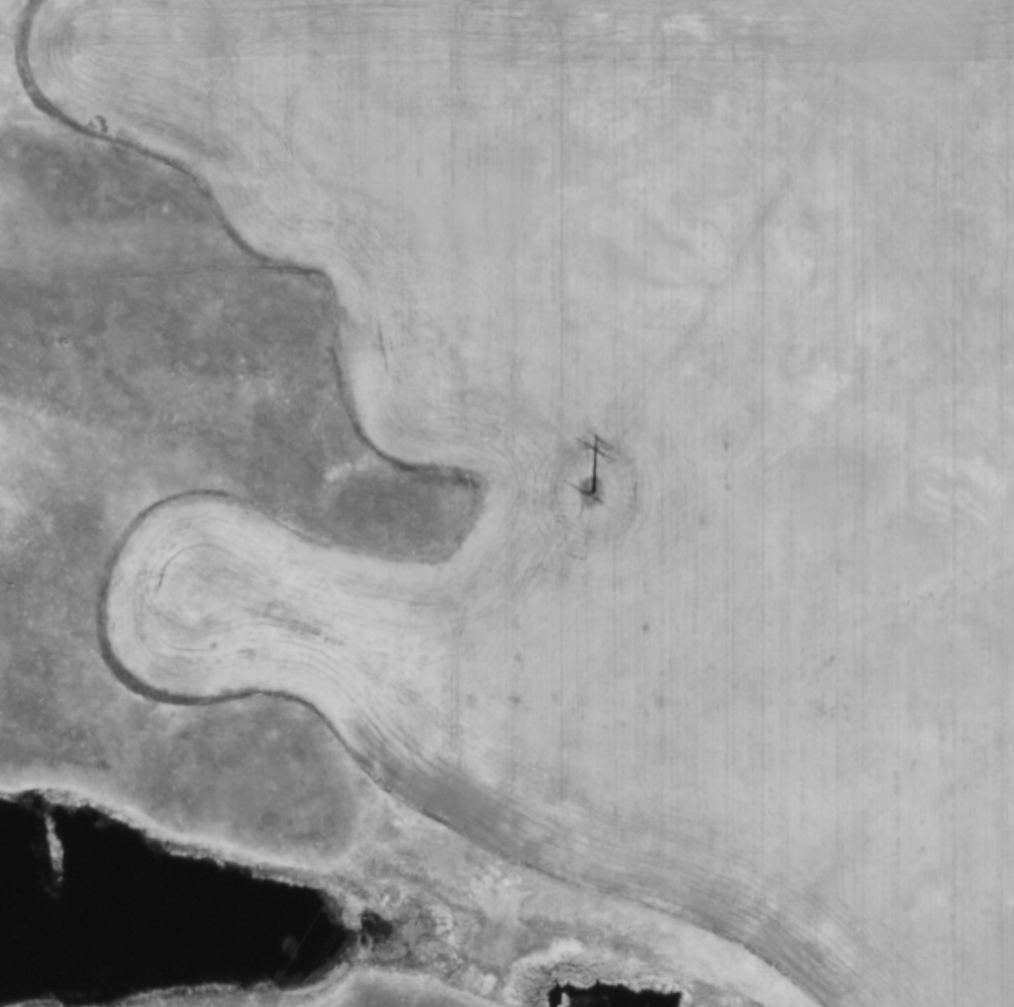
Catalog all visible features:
power tower: (583, 476)

